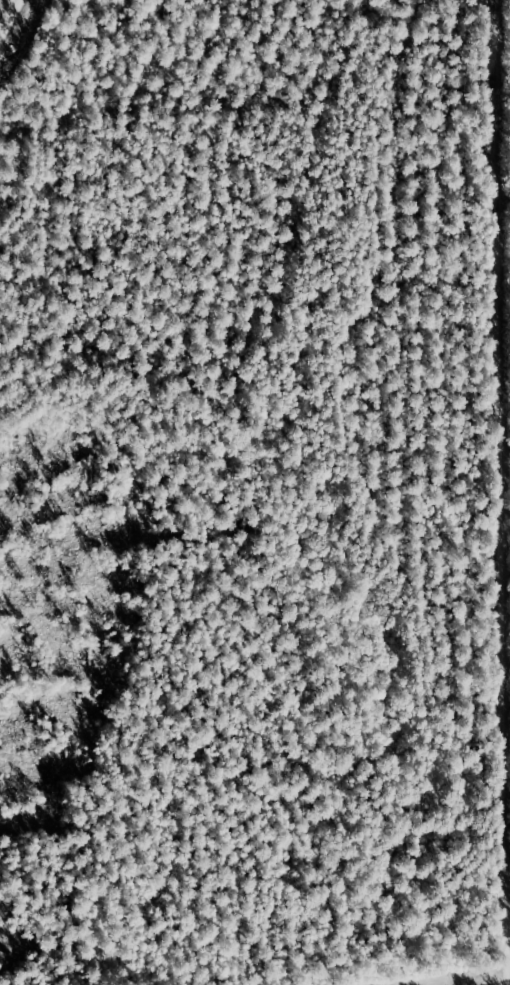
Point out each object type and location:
road: (11, 18)

